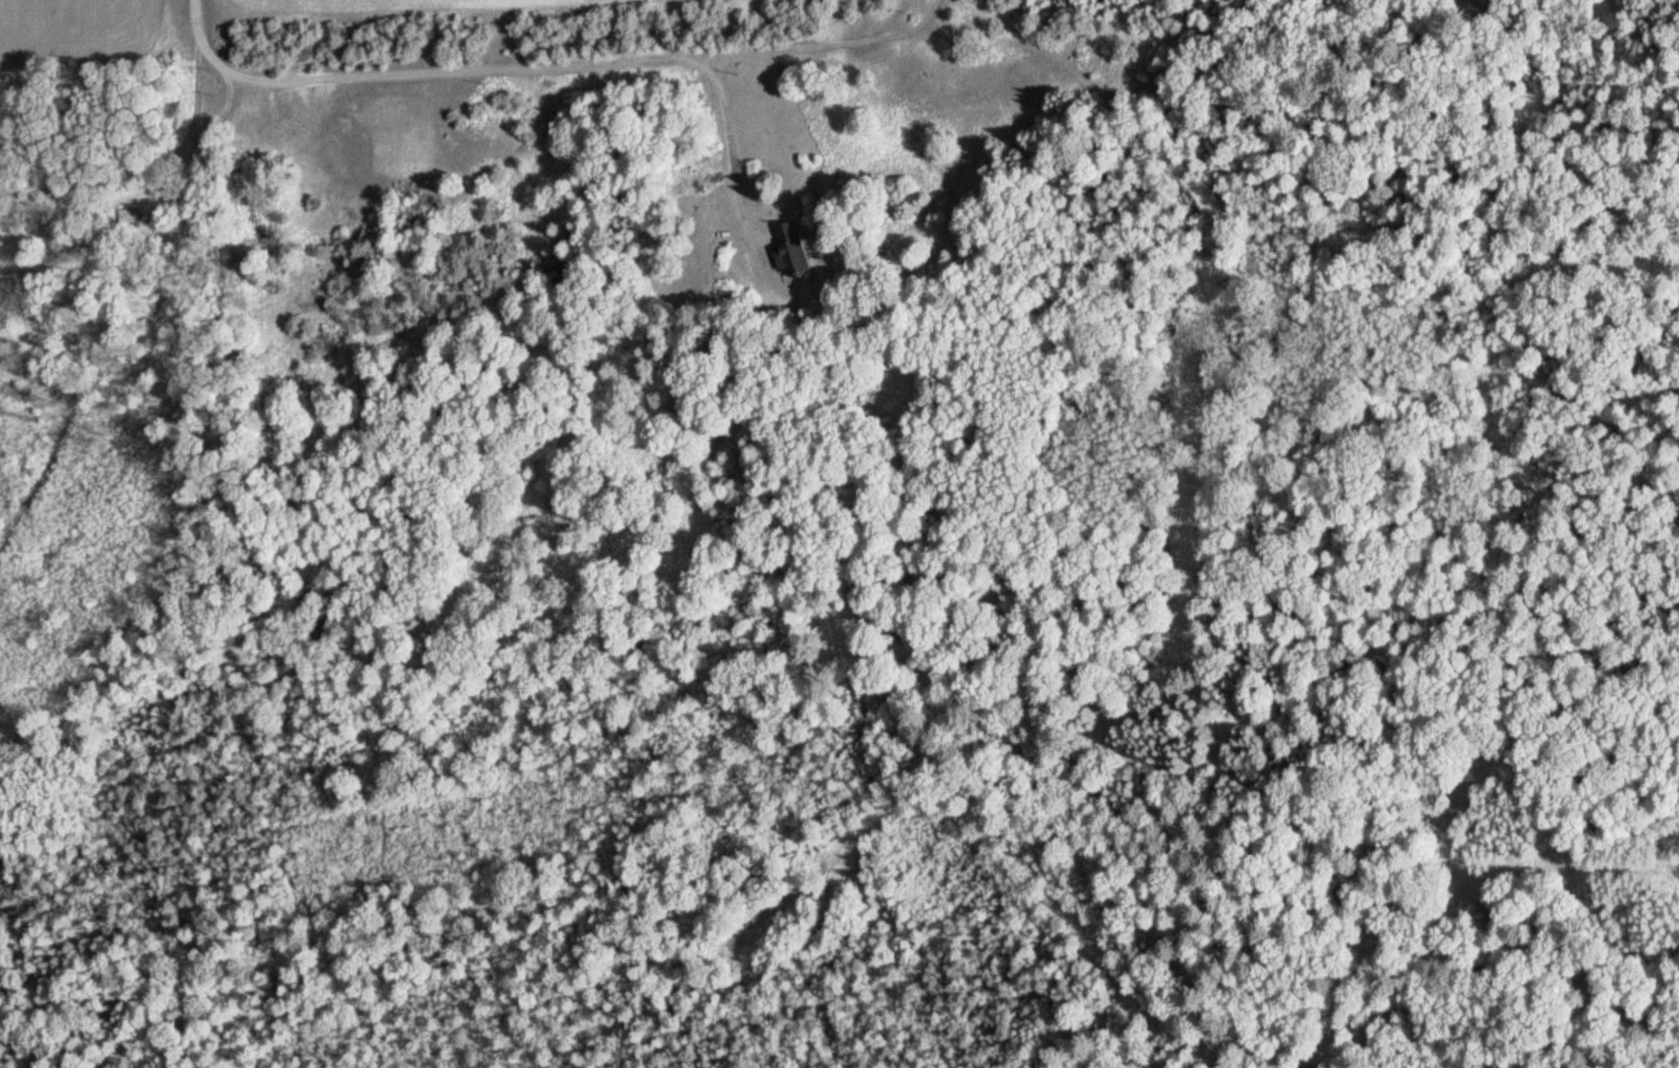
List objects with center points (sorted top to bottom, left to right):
road: (195, 12)
road: (537, 65)
building: (127, 216)
building: (787, 251)
road: (146, 315)

